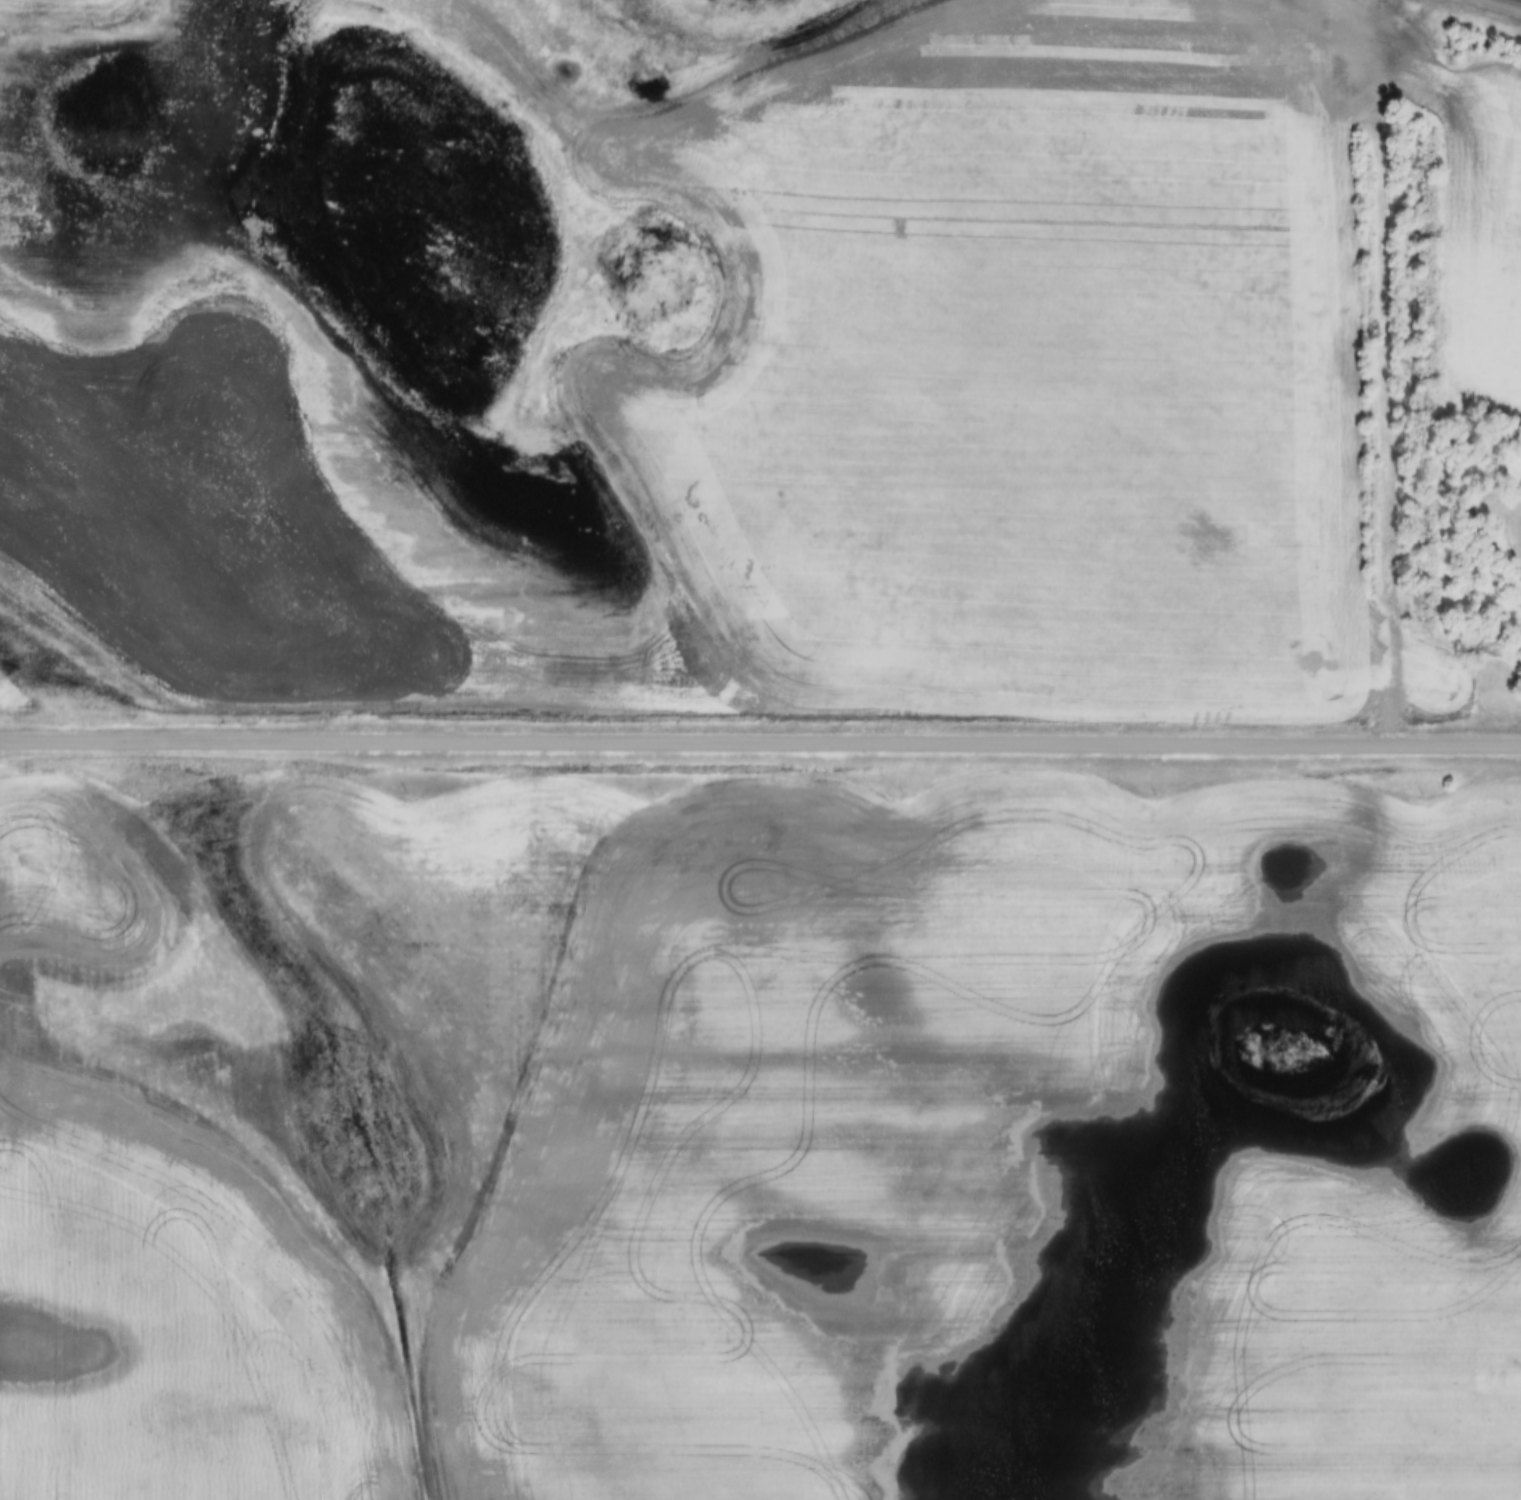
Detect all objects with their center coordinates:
railway: (1517, 0)
road: (760, 742)

